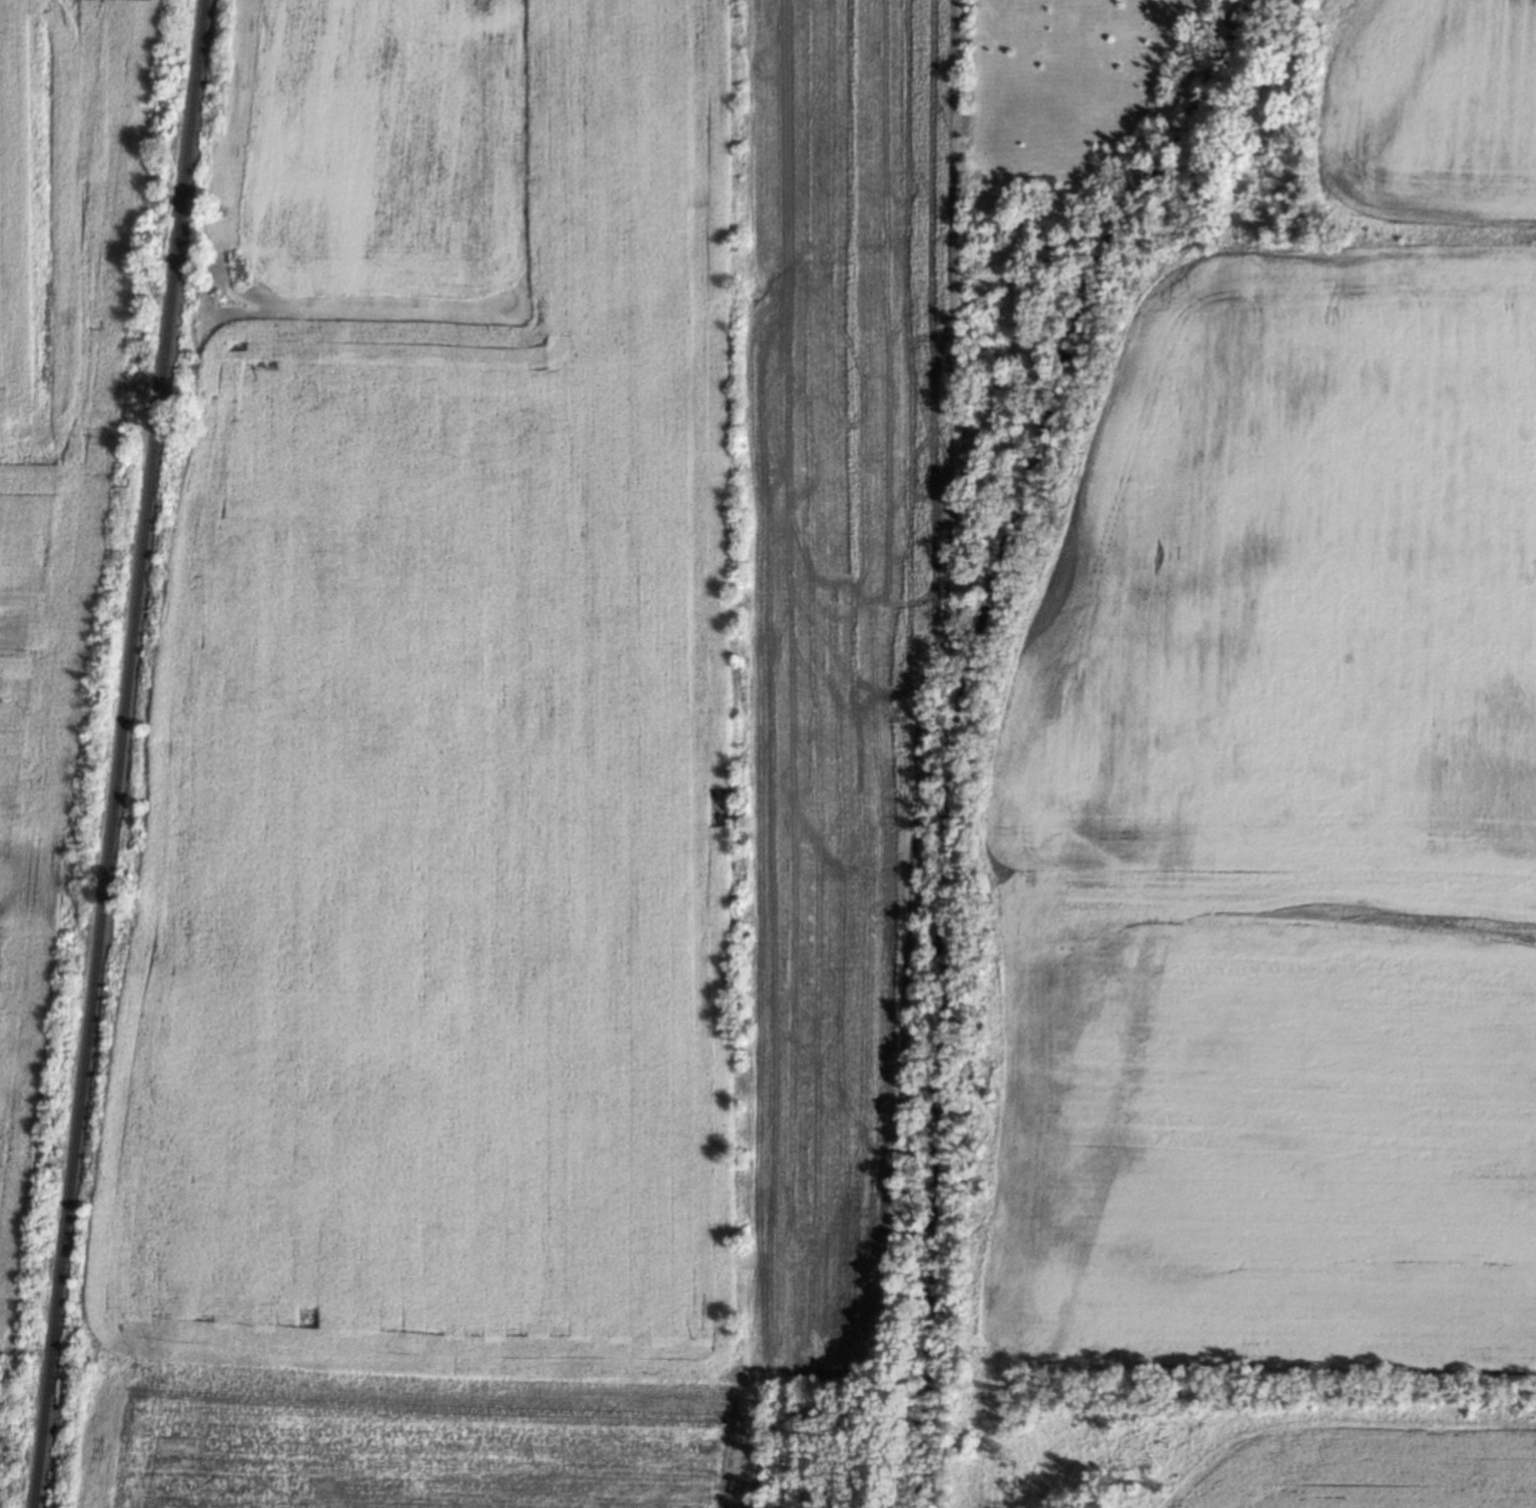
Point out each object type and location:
railway: (116, 754)

